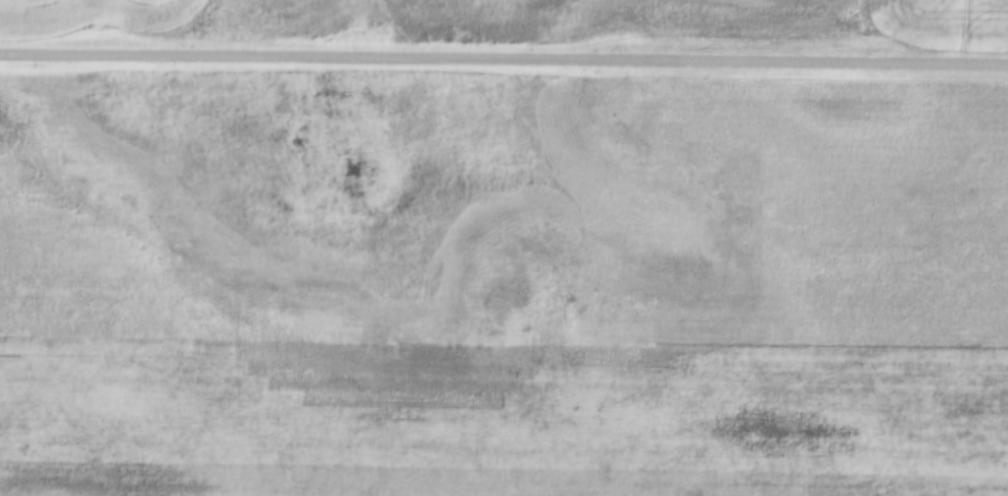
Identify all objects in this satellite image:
road: (504, 63)

